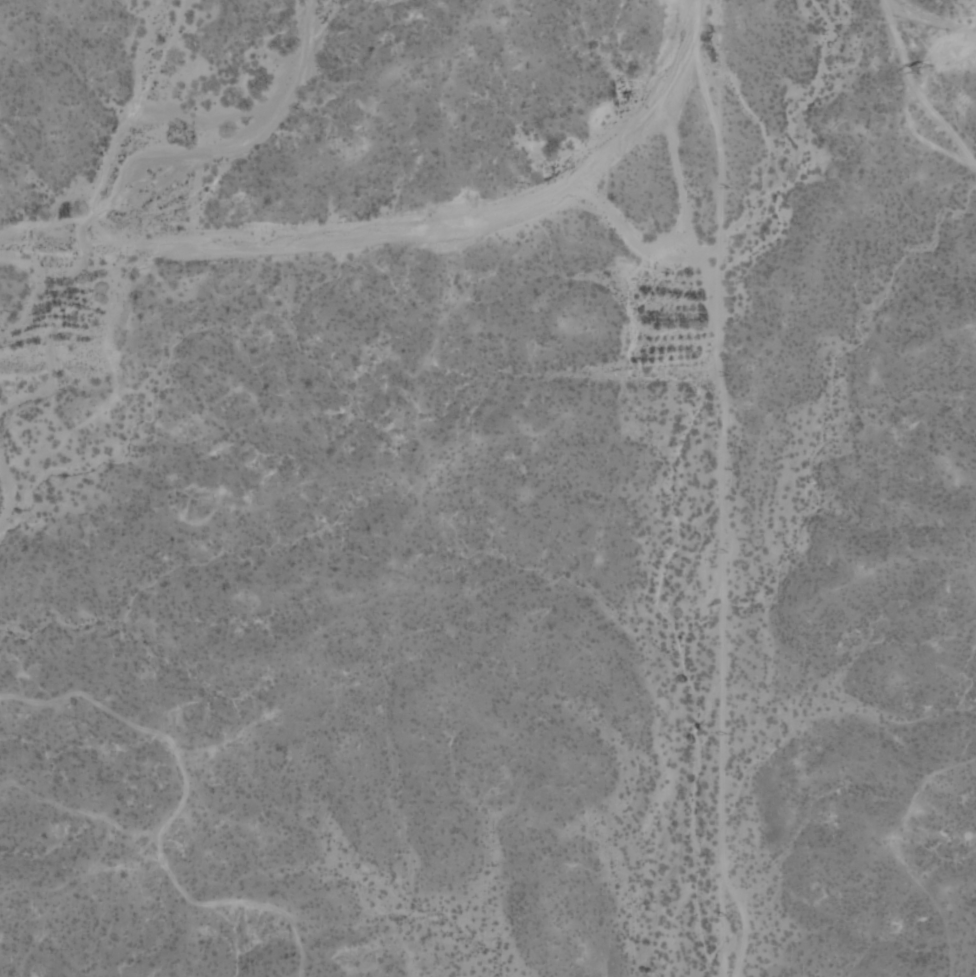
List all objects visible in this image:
road: (942, 59)
power tower: (926, 68)
road: (915, 89)
road: (721, 487)

